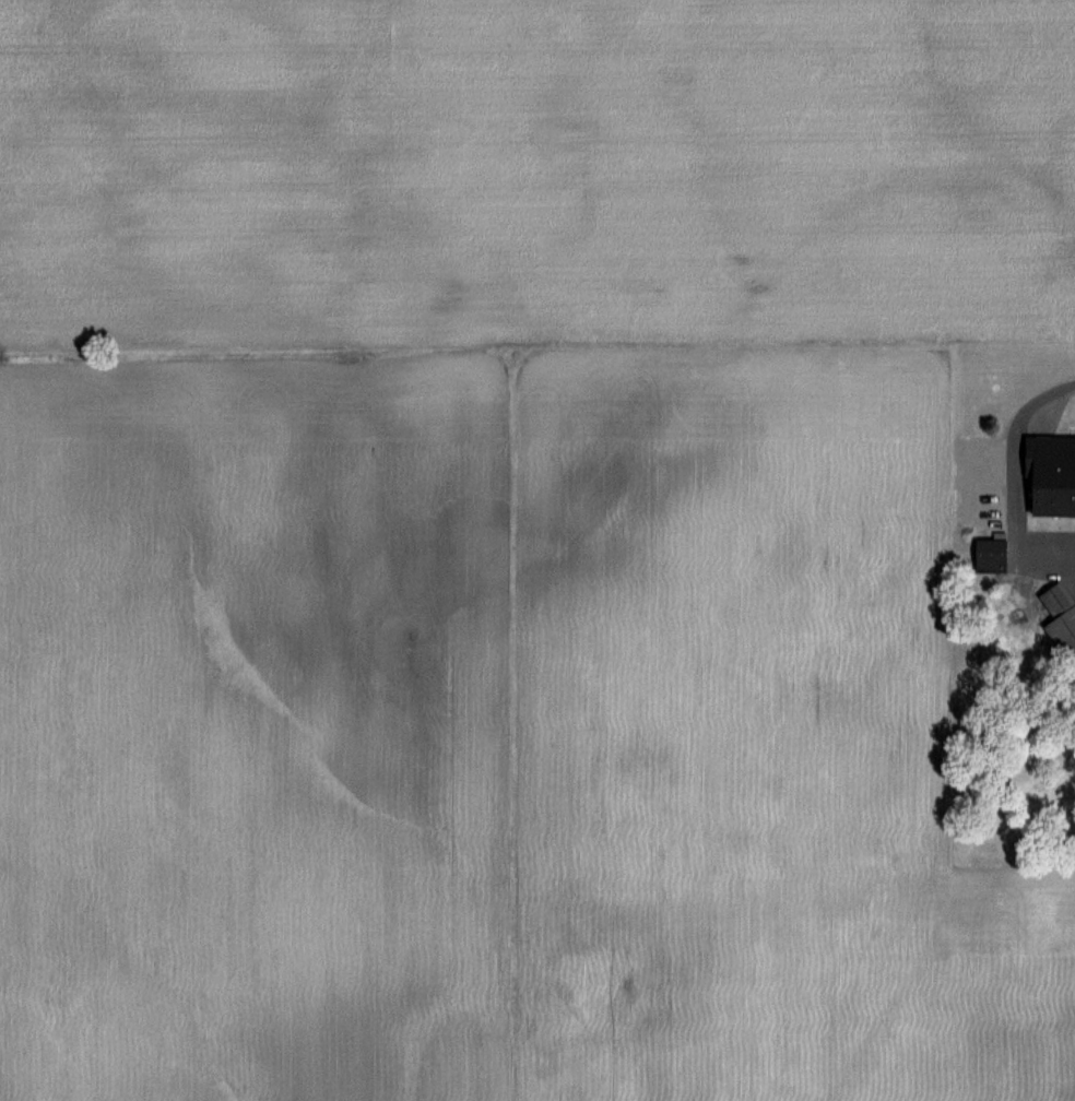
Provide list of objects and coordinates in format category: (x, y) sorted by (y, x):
building: (1049, 475)
building: (987, 555)
building: (1060, 617)

